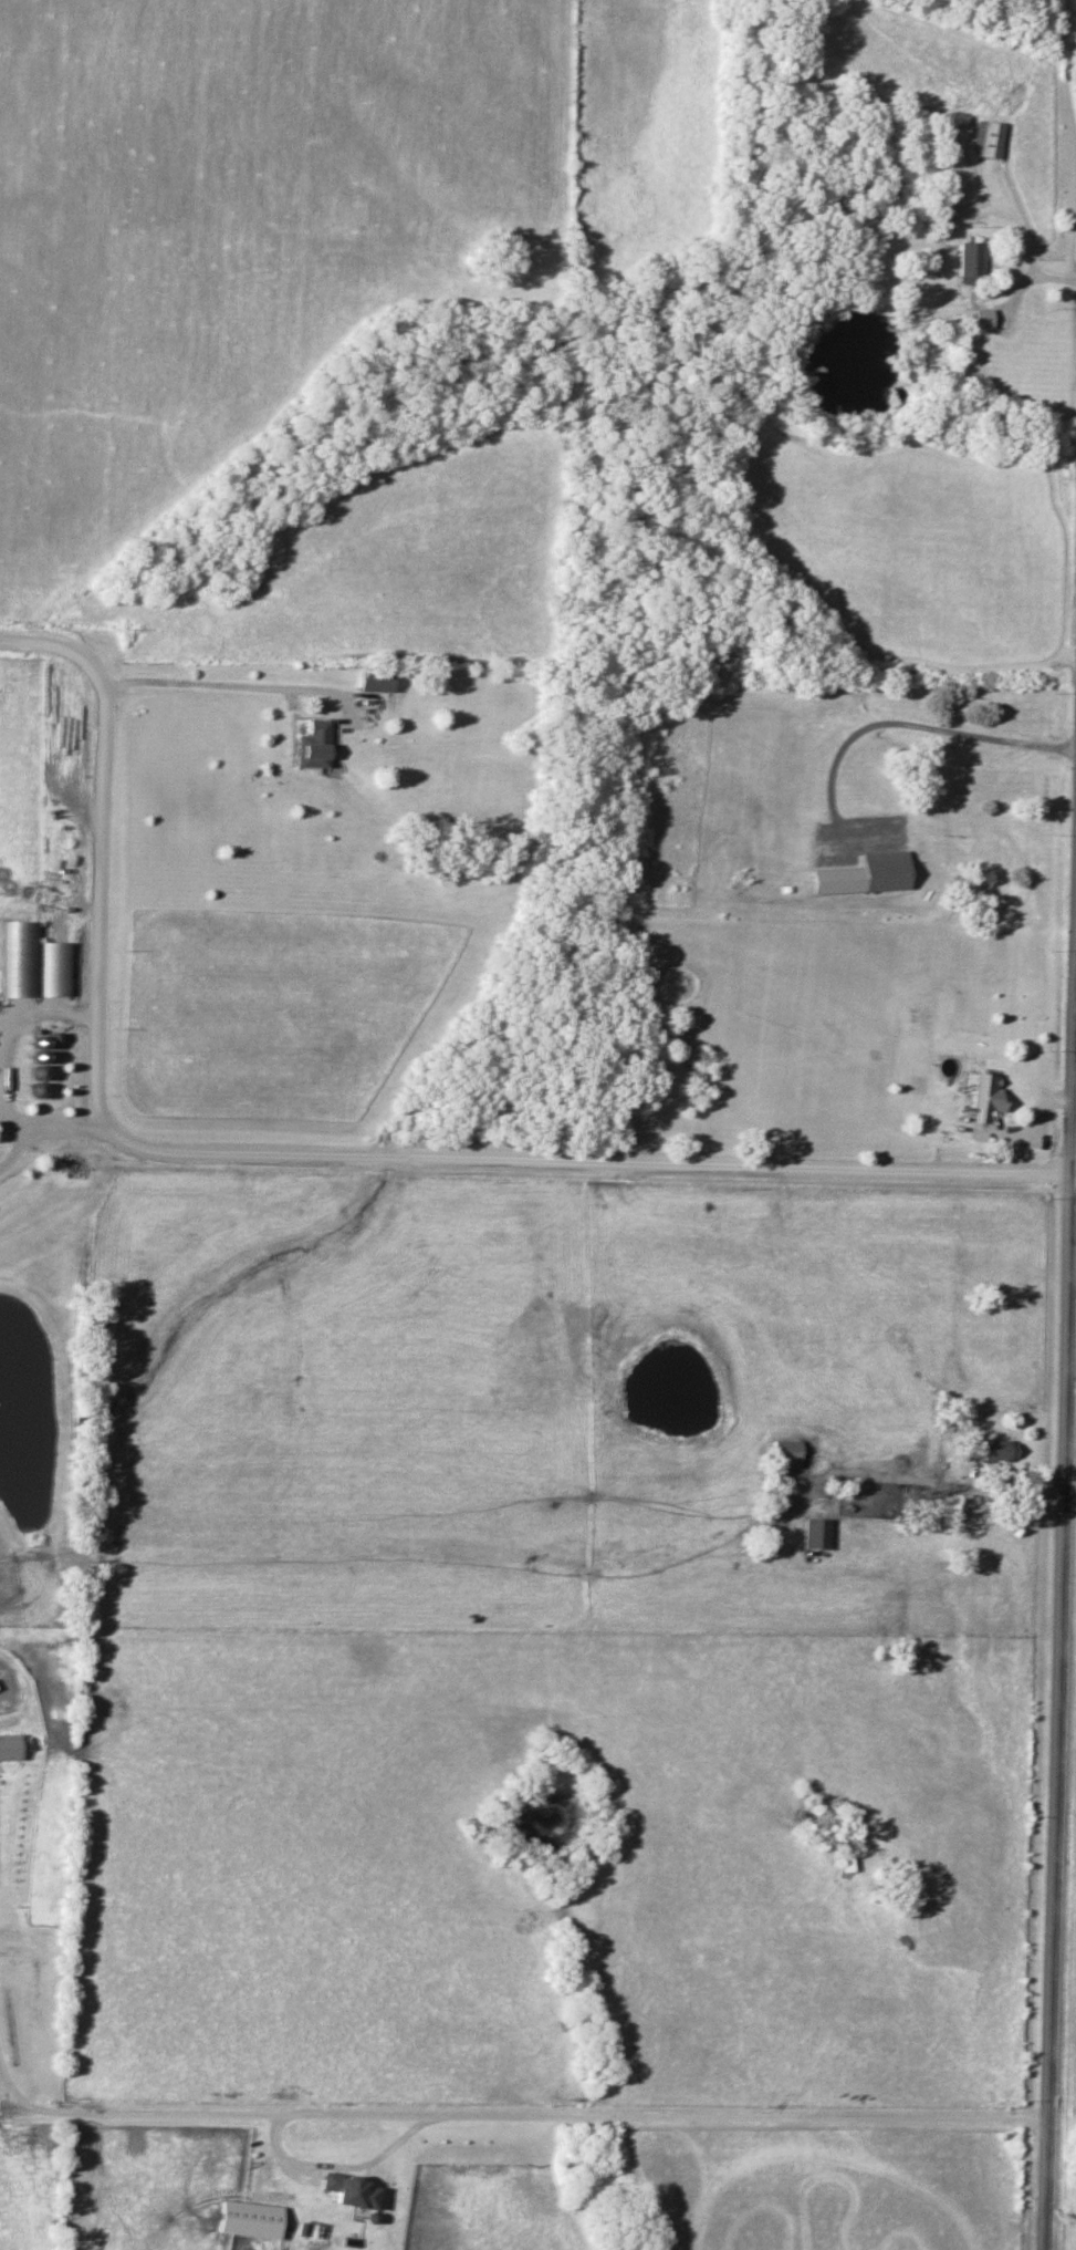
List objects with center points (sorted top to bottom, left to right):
building: (986, 141)
building: (969, 261)
road: (910, 272)
road: (1054, 280)
building: (374, 683)
road: (210, 685)
road: (897, 722)
building: (313, 746)
building: (865, 874)
building: (20, 958)
road: (51, 1010)
building: (986, 1095)
road: (52, 1128)
road: (306, 1158)
building: (995, 1450)
building: (784, 1453)
road: (949, 1490)
building: (815, 1534)
road: (1061, 1599)
building: (8, 1748)
road: (511, 2113)
road: (337, 2166)
building: (351, 2191)

